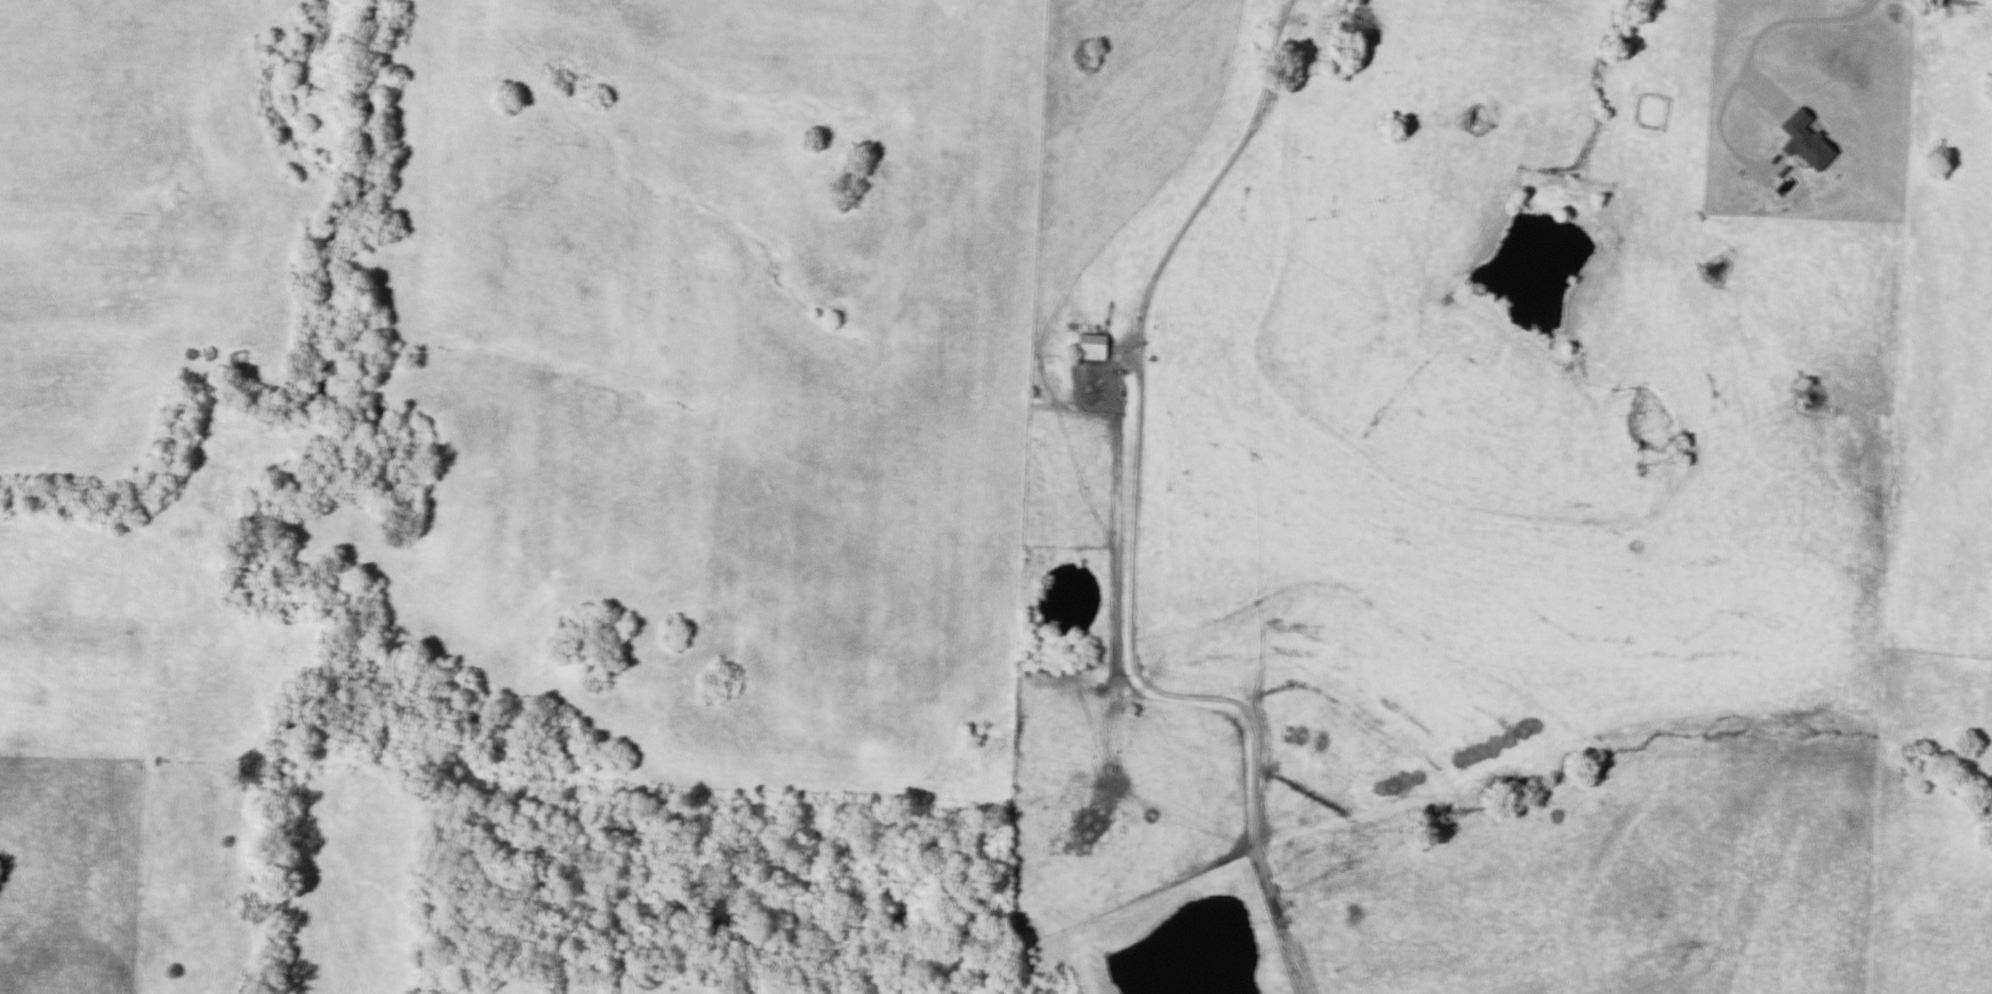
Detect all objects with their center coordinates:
road: (1779, 22)
building: (1096, 348)
road: (1137, 524)

